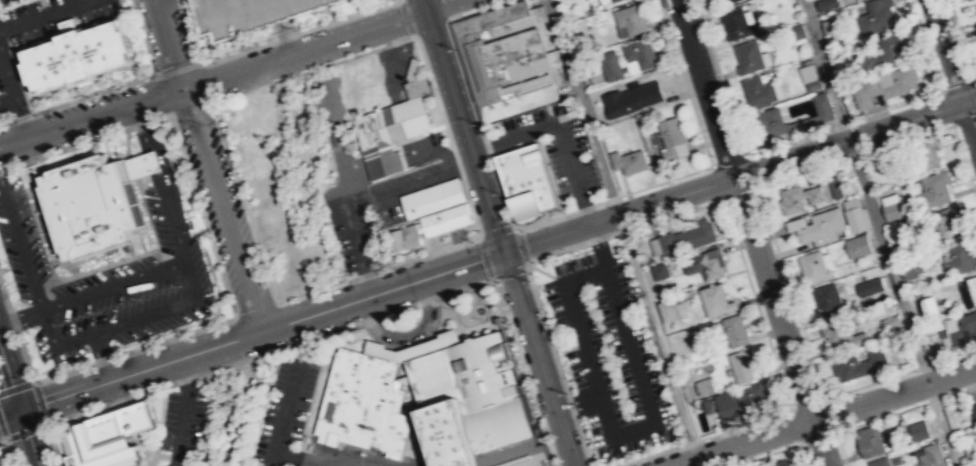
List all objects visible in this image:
building: (613, 0)
building: (726, 1)
building: (825, 4)
road: (120, 6)
road: (445, 9)
building: (247, 14)
parking garage: (247, 14)
road: (43, 15)
building: (875, 16)
parking lot: (48, 17)
road: (406, 17)
building: (631, 18)
parking lot: (282, 20)
building: (735, 23)
building: (832, 24)
road: (126, 26)
road: (430, 27)
street lamp: (674, 28)
road: (962, 39)
road: (34, 40)
road: (266, 43)
road: (926, 44)
street lamp: (959, 45)
building: (889, 48)
building: (640, 53)
building: (510, 56)
building: (748, 56)
building: (76, 57)
building: (609, 65)
road: (312, 68)
road: (952, 69)
building: (807, 72)
road: (223, 75)
road: (720, 76)
building: (414, 78)
road: (975, 78)
road: (126, 80)
road: (975, 80)
road: (685, 82)
parking lot: (8, 84)
road: (10, 84)
building: (812, 84)
road: (958, 84)
building: (884, 85)
road: (433, 90)
street lamp: (429, 91)
building: (757, 91)
road: (470, 92)
building: (631, 98)
building: (822, 106)
road: (946, 107)
road: (21, 115)
road: (22, 119)
road: (156, 119)
road: (963, 119)
road: (6, 120)
building: (770, 122)
road: (843, 122)
road: (138, 124)
road: (462, 125)
road: (559, 128)
building: (387, 131)
building: (671, 137)
road: (908, 138)
road: (392, 142)
road: (397, 146)
road: (67, 148)
parking lot: (424, 148)
building: (928, 152)
street lamp: (711, 154)
road: (728, 159)
road: (456, 161)
building: (629, 161)
road: (964, 161)
road: (205, 165)
road: (2, 169)
building: (256, 170)
road: (750, 170)
road: (800, 173)
road: (739, 174)
building: (527, 181)
road: (717, 182)
building: (835, 185)
road: (387, 187)
parking lot: (405, 187)
building: (936, 188)
road: (739, 193)
building: (431, 196)
road: (611, 197)
road: (244, 198)
building: (798, 198)
building: (89, 207)
building: (892, 210)
building: (853, 215)
building: (444, 218)
building: (795, 221)
building: (948, 222)
building: (821, 225)
road: (495, 229)
road: (624, 229)
road: (134, 231)
road: (623, 232)
road: (879, 232)
road: (750, 233)
road: (138, 234)
building: (402, 236)
building: (687, 238)
road: (20, 243)
road: (521, 245)
building: (857, 246)
building: (903, 248)
traffic signals: (502, 252)
road: (484, 256)
building: (961, 257)
road: (403, 259)
road: (109, 263)
building: (703, 266)
building: (813, 267)
building: (910, 269)
building: (660, 271)
road: (510, 272)
road: (53, 274)
road: (112, 285)
building: (869, 285)
road: (193, 289)
building: (968, 290)
road: (790, 292)
building: (716, 300)
building: (825, 300)
street lamp: (759, 301)
road: (756, 304)
fountain: (479, 309)
building: (927, 309)
building: (667, 310)
road: (20, 315)
road: (478, 321)
building: (890, 322)
building: (969, 323)
road: (546, 328)
building: (736, 330)
road: (406, 332)
building: (840, 333)
road: (251, 334)
parking lot: (401, 337)
building: (956, 337)
road: (269, 352)
building: (876, 352)
parking lot: (609, 354)
road: (101, 355)
road: (537, 359)
building: (741, 364)
street lamp: (220, 366)
building: (853, 366)
road: (523, 370)
road: (900, 372)
road: (9, 379)
building: (706, 386)
road: (16, 387)
street lamp: (565, 393)
parking lot: (287, 400)
street lamp: (111, 401)
road: (807, 402)
road: (40, 403)
building: (741, 403)
street lamp: (791, 403)
building: (432, 404)
road: (578, 404)
road: (571, 405)
road: (905, 408)
traffic signals: (19, 409)
road: (184, 411)
building: (973, 411)
road: (829, 413)
road: (822, 414)
road: (158, 420)
parking lot: (182, 422)
road: (796, 426)
building: (887, 426)
road: (634, 429)
building: (917, 430)
road: (25, 433)
road: (277, 435)
road: (1, 436)
road: (818, 436)
road: (28, 437)
building: (107, 437)
road: (702, 437)
building: (870, 440)
road: (1, 441)
road: (583, 441)
road: (54, 446)
road: (840, 448)
street lamp: (53, 449)
road: (152, 450)
road: (405, 451)
road: (766, 454)
road: (805, 454)
building: (931, 455)
building: (3, 457)
building: (879, 462)
building: (779, 463)

